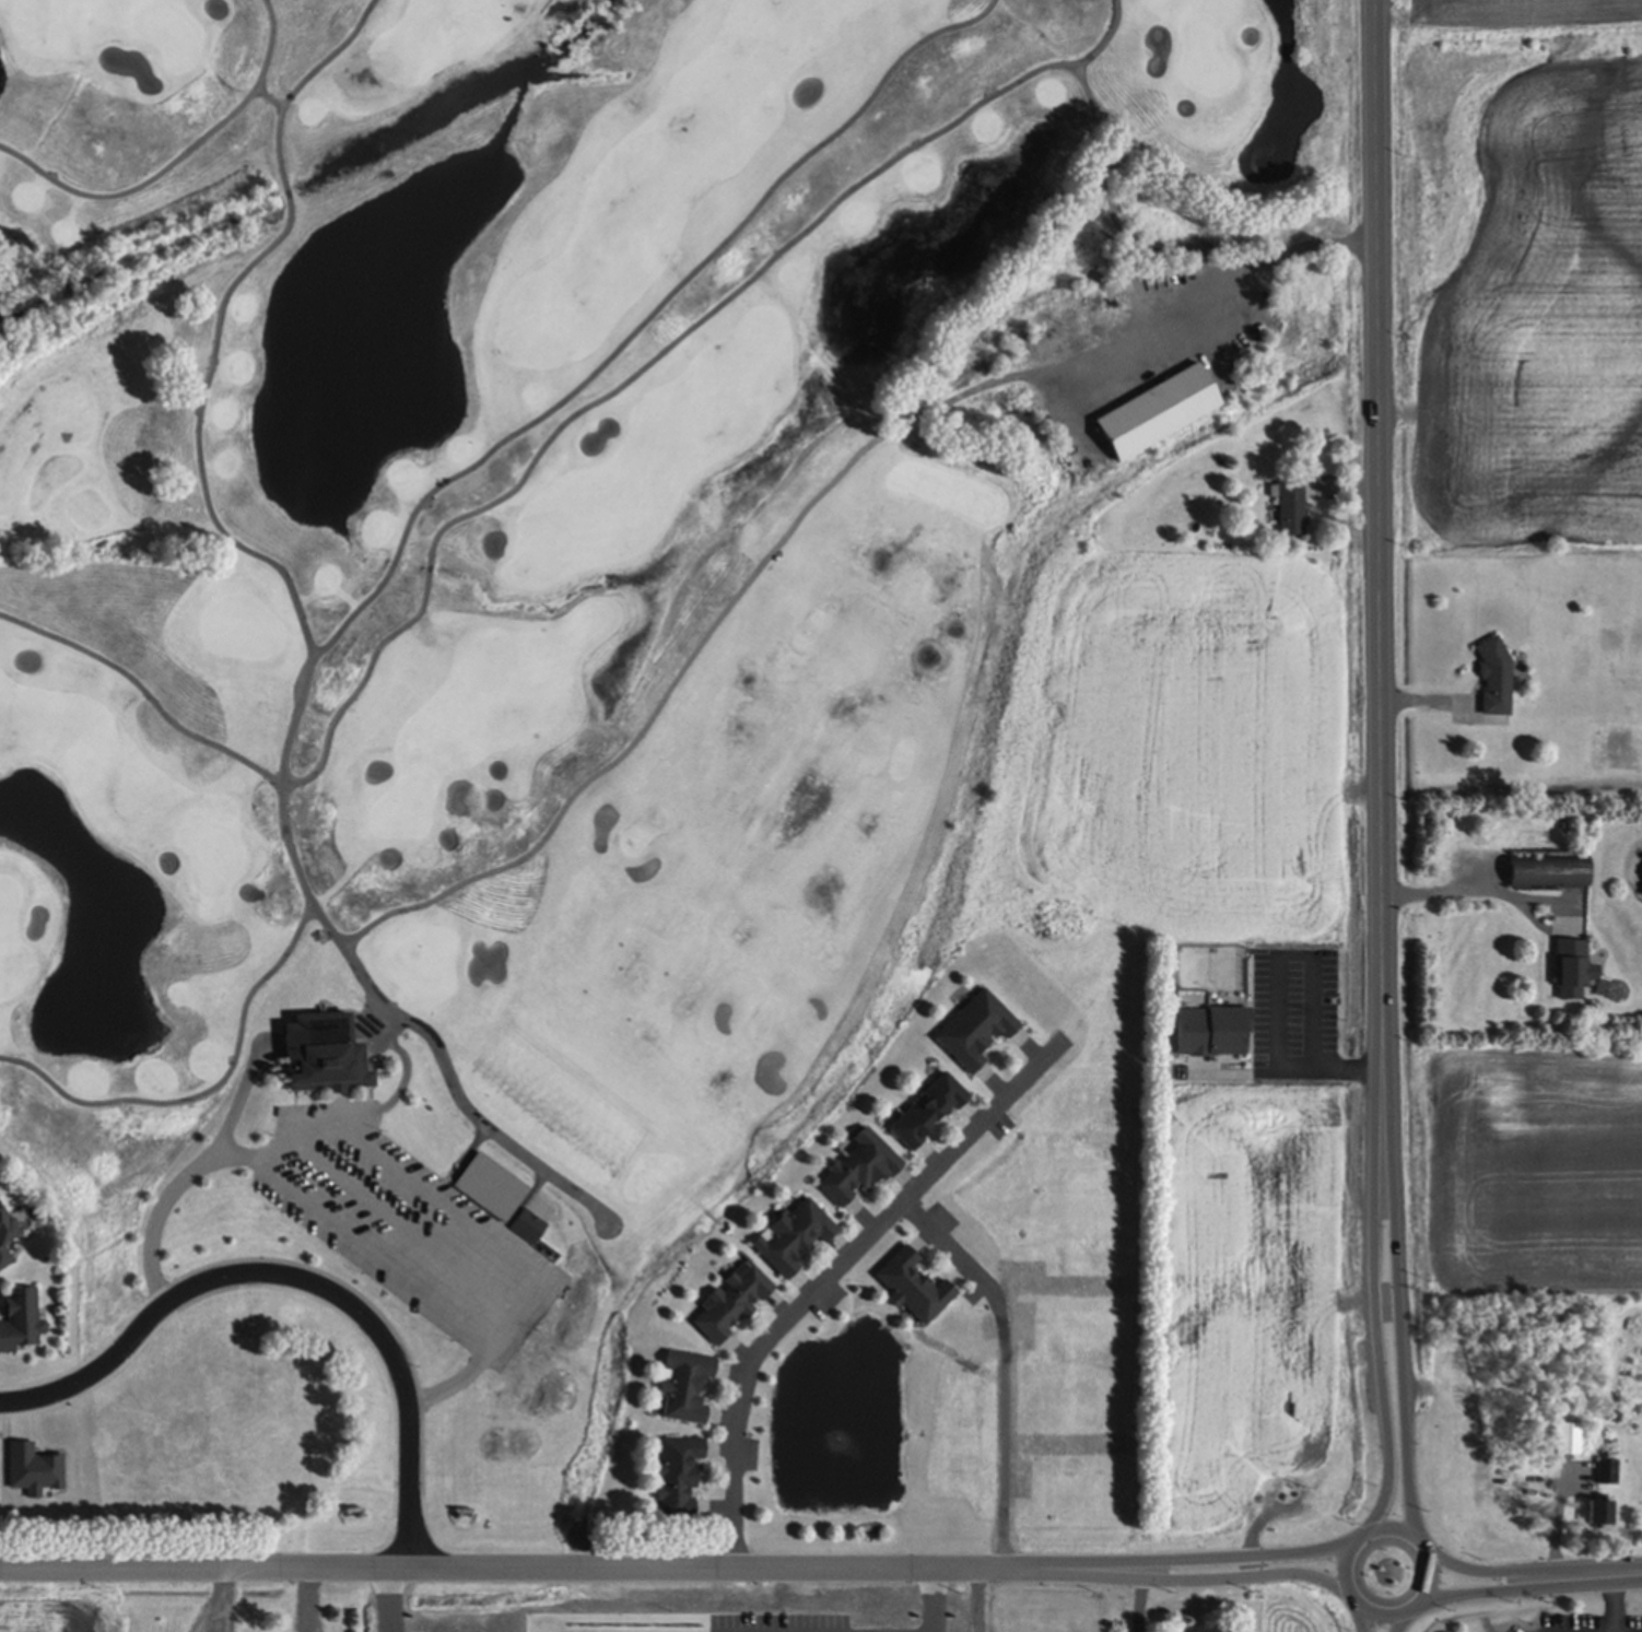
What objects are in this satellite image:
crop: (1516, 277)
road: (1218, 282)
building: (1158, 408)
building: (1290, 505)
road: (1380, 533)
park: (548, 648)
building: (1494, 673)
building: (1538, 834)
building: (1549, 869)
road: (1459, 888)
building: (1570, 965)
road: (1271, 995)
building: (975, 1026)
building: (1212, 1029)
building: (324, 1052)
building: (928, 1108)
road: (290, 1141)
building: (859, 1165)
crop: (1521, 1166)
building: (490, 1185)
road: (433, 1197)
road: (322, 1216)
parking lot: (397, 1223)
road: (404, 1224)
building: (527, 1224)
building: (7, 1234)
building: (794, 1234)
road: (822, 1272)
road: (297, 1278)
building: (913, 1284)
building: (731, 1301)
road: (1374, 1302)
road: (1398, 1305)
road: (511, 1315)
building: (21, 1318)
crop: (1255, 1320)
road: (997, 1363)
building: (685, 1384)
building: (1615, 1411)
building: (1567, 1436)
building: (1606, 1470)
building: (677, 1474)
building: (1598, 1511)
road: (1417, 1537)
road: (1182, 1559)
road: (503, 1566)
road: (1632, 1566)
road: (1522, 1571)
road: (1620, 1573)
road: (1630, 1578)
road: (1180, 1582)
road: (1520, 1588)
road: (220, 1599)
road: (308, 1599)
road: (387, 1599)
road: (925, 1599)
road: (977, 1599)
road: (1138, 1606)
road: (1612, 1606)
crop: (63, 1607)
road: (1362, 1620)
road: (1401, 1621)

